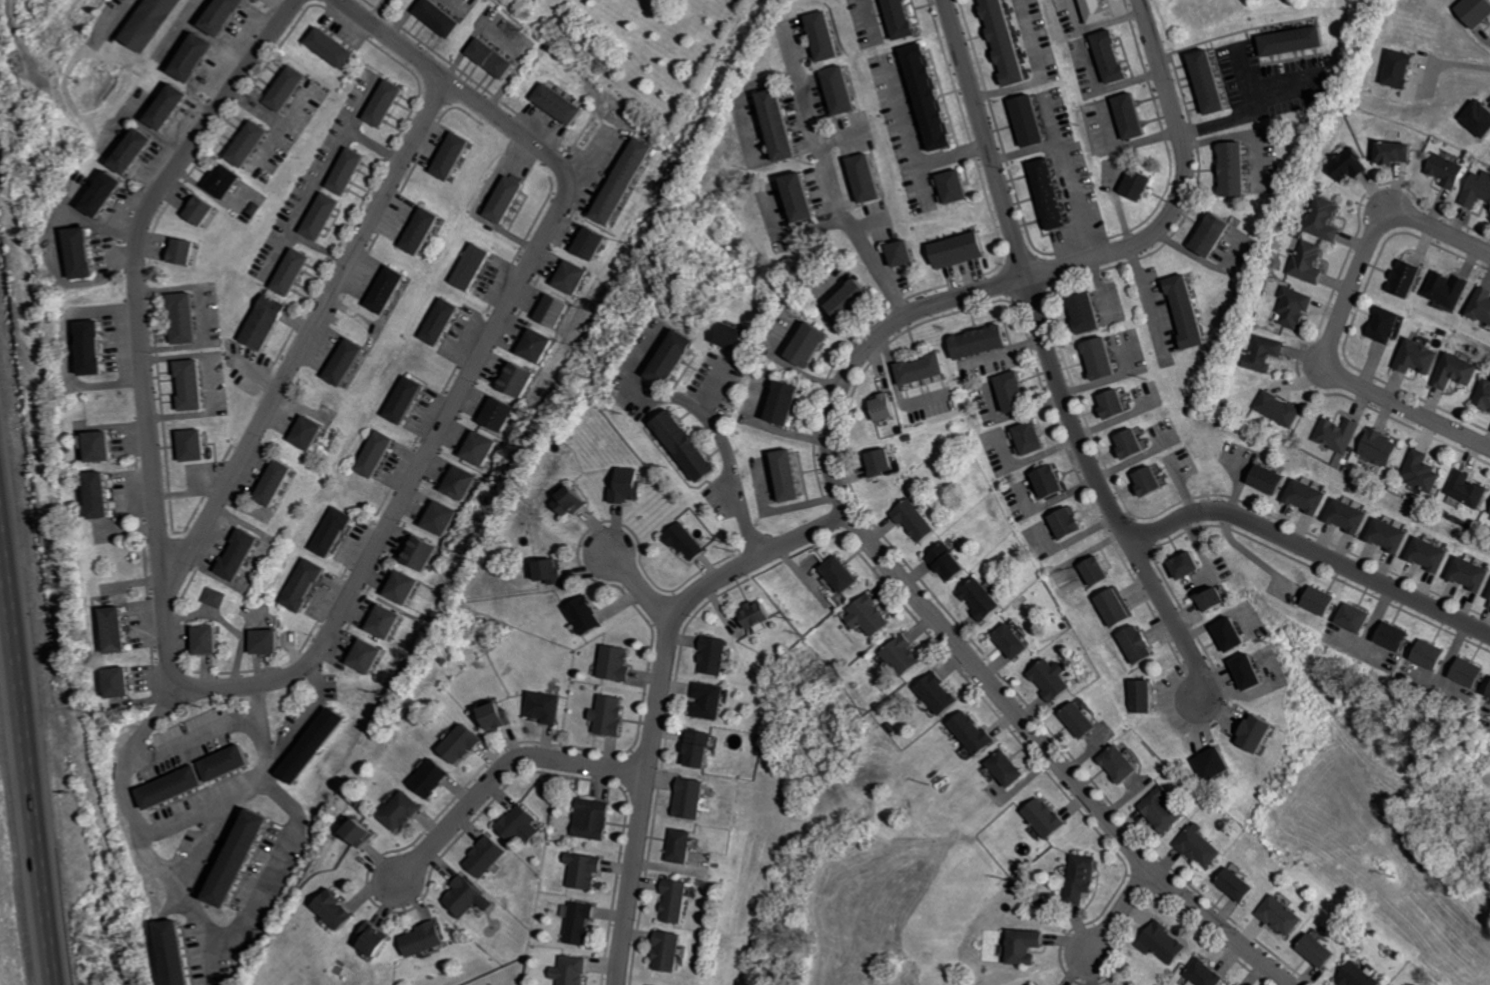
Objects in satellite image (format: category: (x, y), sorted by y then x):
building: (1098, 12)
building: (1479, 12)
building: (225, 16)
building: (440, 16)
road: (118, 18)
building: (904, 20)
building: (153, 21)
building: (829, 36)
building: (843, 39)
building: (1293, 39)
building: (1007, 40)
building: (331, 52)
building: (1110, 55)
building: (493, 56)
building: (195, 60)
road: (1458, 64)
building: (1405, 69)
road: (1041, 72)
building: (1212, 78)
road: (235, 82)
building: (845, 90)
building: (285, 92)
building: (859, 94)
building: (929, 95)
building: (386, 101)
road: (748, 101)
building: (558, 102)
building: (169, 107)
road: (1241, 113)
building: (1129, 115)
building: (1031, 117)
building: (1482, 118)
building: (784, 125)
building: (799, 129)
building: (246, 146)
building: (1399, 152)
building: (135, 153)
building: (454, 157)
building: (1353, 165)
road: (1071, 168)
building: (1236, 168)
building: (348, 169)
building: (1450, 170)
building: (623, 177)
road: (831, 177)
building: (870, 178)
building: (884, 181)
building: (223, 182)
building: (953, 183)
building: (1137, 185)
road: (1184, 185)
building: (1478, 190)
building: (1050, 192)
building: (104, 193)
building: (805, 196)
building: (505, 200)
building: (822, 203)
building: (200, 212)
building: (323, 214)
building: (1327, 219)
building: (422, 229)
road: (1377, 232)
building: (1214, 238)
building: (591, 243)
building: (961, 247)
building: (185, 250)
building: (902, 250)
building: (82, 253)
building: (1312, 262)
building: (474, 266)
building: (293, 270)
building: (570, 275)
building: (1410, 279)
road: (1145, 284)
building: (1453, 289)
building: (387, 290)
building: (855, 302)
building: (1483, 305)
building: (551, 307)
building: (1297, 308)
building: (1190, 310)
building: (1089, 313)
building: (187, 319)
building: (265, 322)
building: (442, 322)
building: (1391, 325)
road: (307, 335)
building: (736, 335)
building: (970, 341)
building: (534, 342)
building: (809, 345)
building: (92, 347)
road: (486, 347)
road: (71, 350)
building: (1268, 353)
building: (672, 355)
building: (1424, 357)
road: (1051, 358)
building: (1104, 358)
building: (346, 364)
building: (913, 368)
building: (1461, 371)
building: (514, 376)
building: (193, 384)
building: (1004, 391)
building: (1019, 392)
building: (1486, 396)
building: (406, 401)
building: (785, 403)
building: (1104, 403)
building: (1119, 405)
road: (1407, 405)
building: (891, 407)
building: (1281, 409)
building: (497, 411)
road: (149, 428)
building: (308, 433)
building: (1340, 433)
building: (1022, 437)
building: (1036, 438)
road: (726, 443)
building: (1122, 443)
building: (196, 444)
building: (479, 445)
building: (1137, 445)
building: (687, 446)
building: (1383, 448)
building: (103, 449)
building: (378, 455)
building: (885, 463)
building: (1423, 472)
building: (788, 476)
building: (1044, 480)
building: (1140, 480)
building: (1274, 480)
building: (460, 481)
building: (1057, 482)
building: (1155, 482)
building: (283, 484)
building: (628, 484)
building: (272, 486)
building: (1468, 490)
building: (102, 497)
building: (1311, 497)
building: (570, 498)
building: (440, 516)
building: (1353, 517)
building: (917, 520)
building: (1061, 521)
building: (1074, 523)
building: (335, 532)
building: (1393, 536)
building: (684, 537)
road: (1313, 549)
building: (420, 554)
building: (239, 555)
building: (1434, 555)
building: (953, 563)
building: (1194, 567)
building: (1090, 570)
building: (1102, 571)
building: (549, 572)
building: (833, 573)
building: (1473, 574)
road: (639, 582)
building: (305, 584)
building: (403, 586)
building: (213, 596)
building: (974, 598)
building: (1222, 600)
building: (1325, 601)
building: (1107, 607)
building: (1120, 608)
building: (582, 614)
building: (862, 615)
building: (755, 617)
building: (384, 618)
building: (1358, 618)
road: (943, 623)
building: (117, 630)
building: (1238, 635)
building: (1397, 637)
building: (1005, 640)
building: (209, 641)
building: (1017, 642)
building: (265, 643)
building: (1131, 643)
building: (713, 650)
building: (365, 653)
building: (897, 654)
building: (1433, 655)
building: (615, 660)
building: (1257, 672)
building: (1471, 673)
building: (1055, 680)
building: (122, 686)
building: (931, 692)
building: (1146, 696)
building: (705, 697)
road: (658, 698)
building: (545, 703)
road: (315, 707)
building: (609, 711)
building: (495, 716)
building: (1084, 721)
building: (964, 731)
building: (1266, 734)
road: (192, 739)
building: (460, 740)
building: (700, 747)
building: (311, 748)
building: (1124, 764)
building: (227, 765)
building: (1219, 765)
road: (26, 767)
road: (502, 767)
building: (1000, 768)
building: (429, 775)
building: (173, 788)
building: (689, 792)
building: (400, 806)
building: (1157, 809)
building: (595, 815)
building: (516, 817)
building: (1039, 817)
road: (172, 824)
building: (359, 832)
building: (679, 842)
building: (1203, 846)
road: (198, 850)
building: (485, 852)
building: (240, 856)
building: (585, 864)
building: (1084, 877)
building: (1242, 884)
building: (464, 893)
building: (674, 900)
road: (1122, 908)
building: (335, 910)
building: (1284, 915)
building: (579, 916)
road: (245, 926)
building: (425, 937)
building: (375, 940)
building: (1166, 942)
building: (1027, 945)
building: (666, 949)
building: (1323, 950)
building: (175, 954)
building: (571, 967)
building: (1208, 973)
building: (1362, 976)
building: (1038, 984)
building: (1241, 984)

